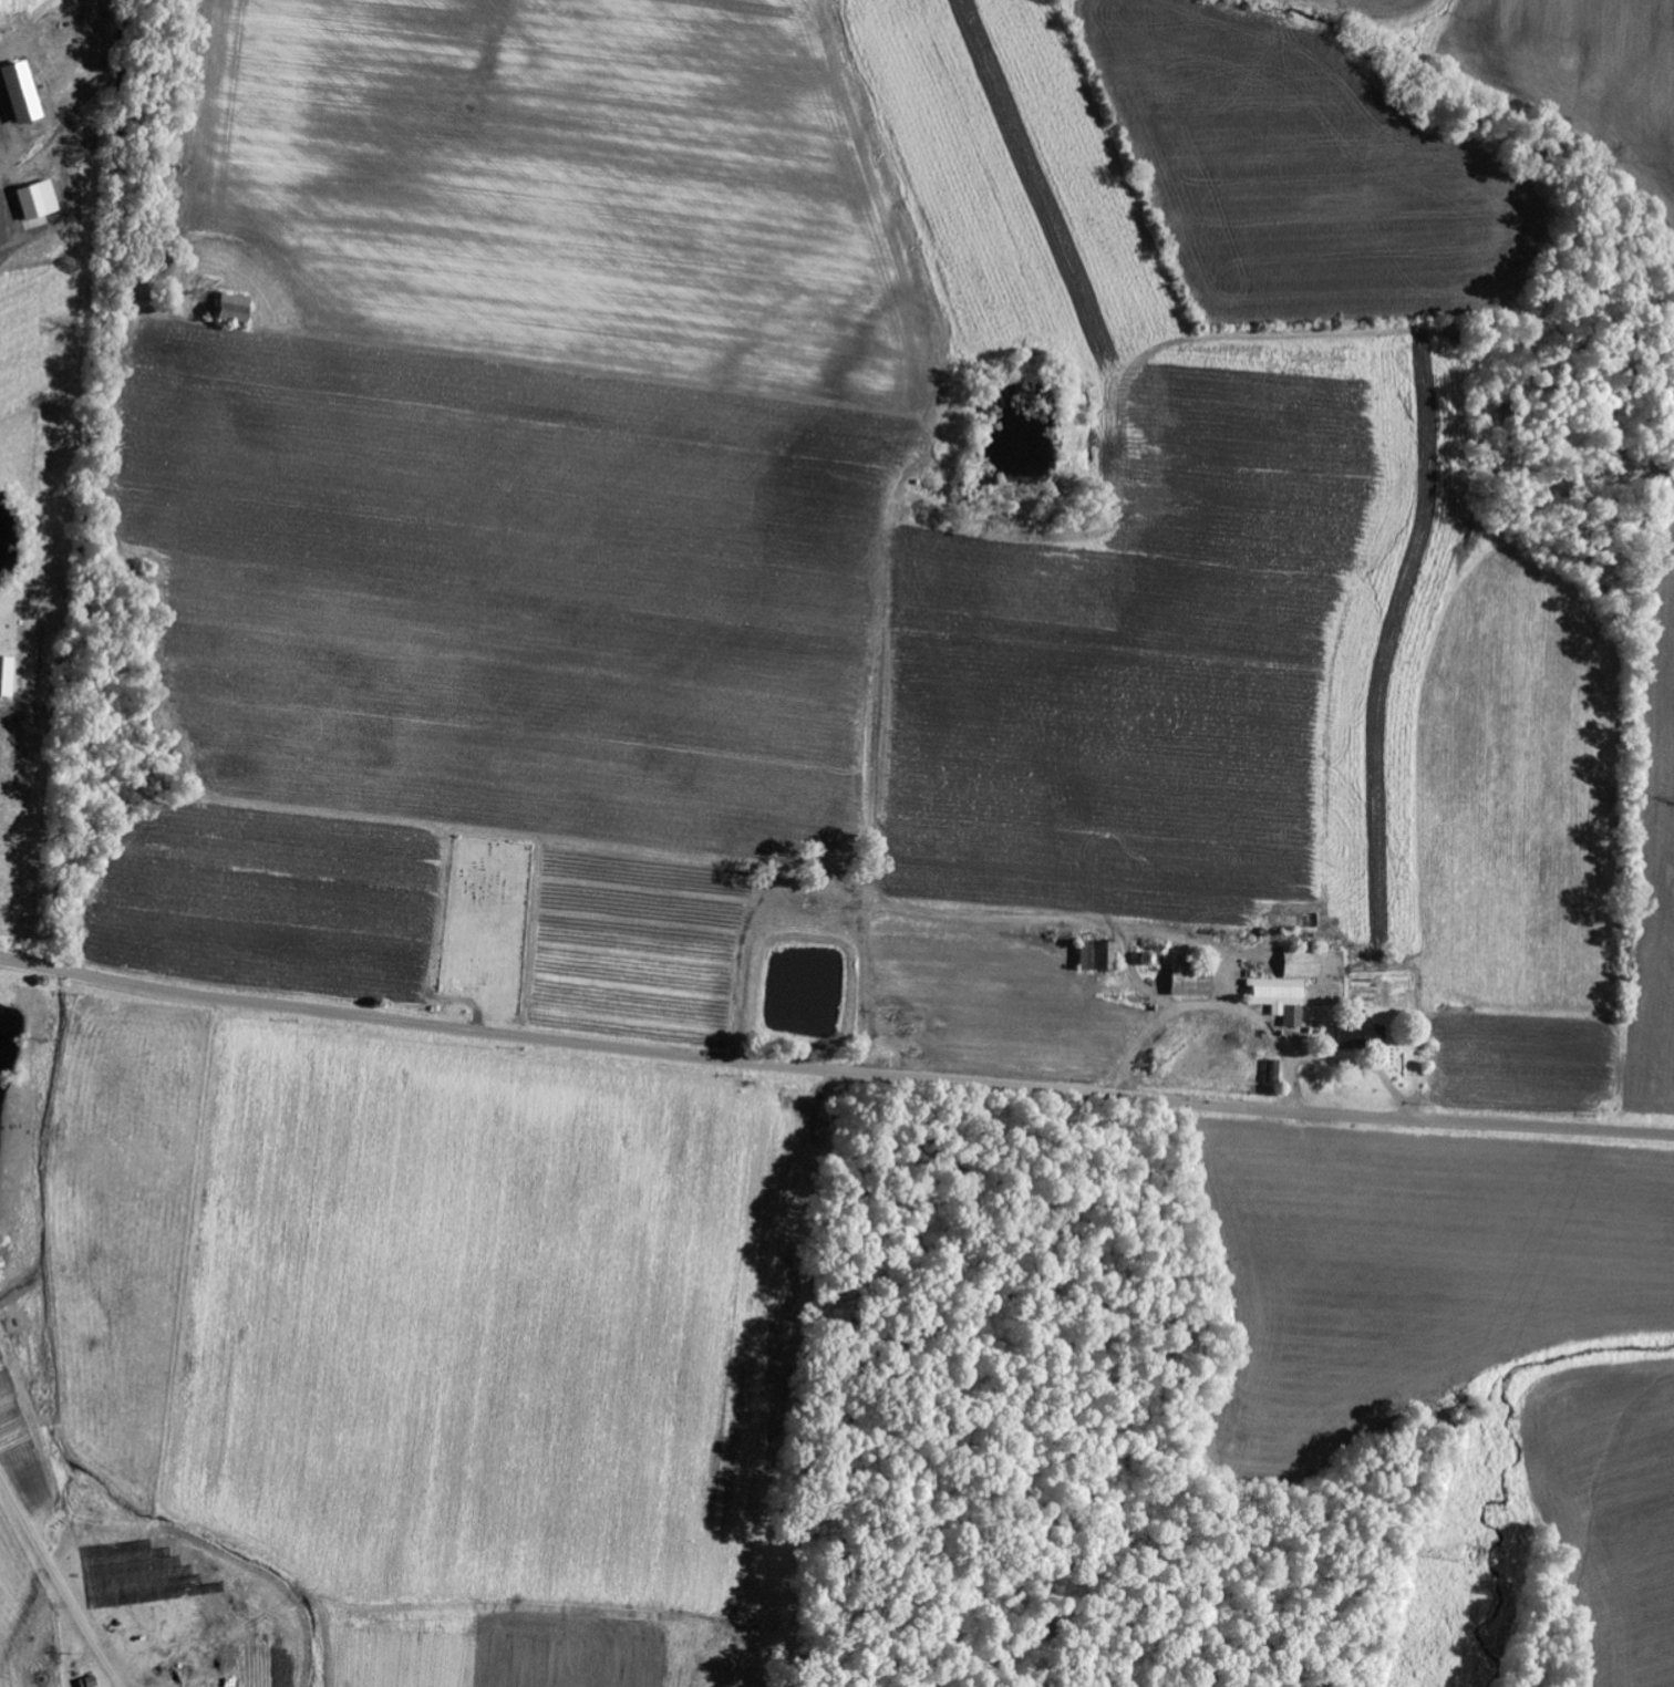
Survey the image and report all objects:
building: (21, 95)
building: (38, 201)
building: (37, 224)
building: (235, 308)
road: (860, 451)
building: (7, 676)
building: (1302, 922)
building: (1098, 956)
building: (1302, 964)
building: (1190, 983)
building: (1281, 998)
building: (1362, 1038)
road: (834, 1069)
power tower: (1471, 1554)

